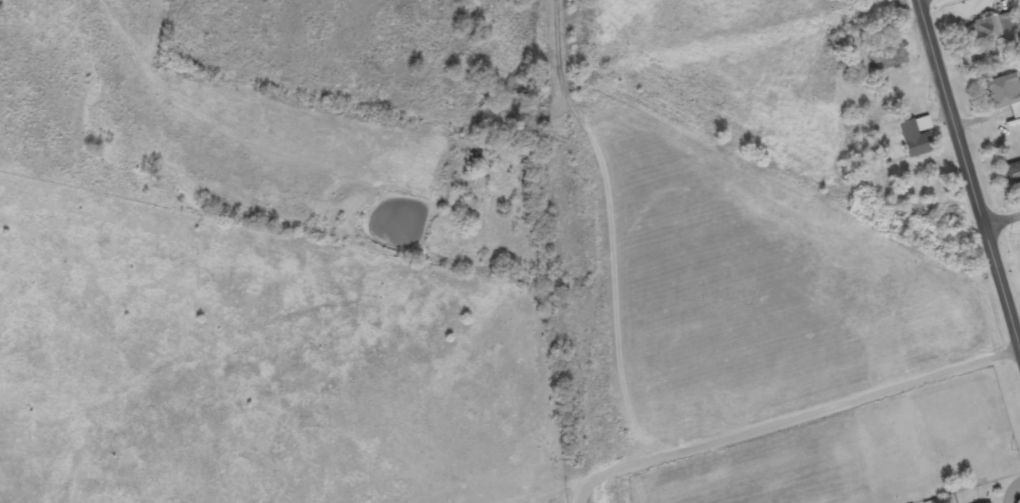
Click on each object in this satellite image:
road: (931, 2)
building: (992, 30)
building: (888, 59)
building: (1004, 96)
road: (957, 114)
building: (915, 138)
building: (1012, 175)
road: (1006, 223)
railway: (581, 251)
road: (1006, 290)
road: (771, 432)
road: (695, 485)
road: (1016, 494)

